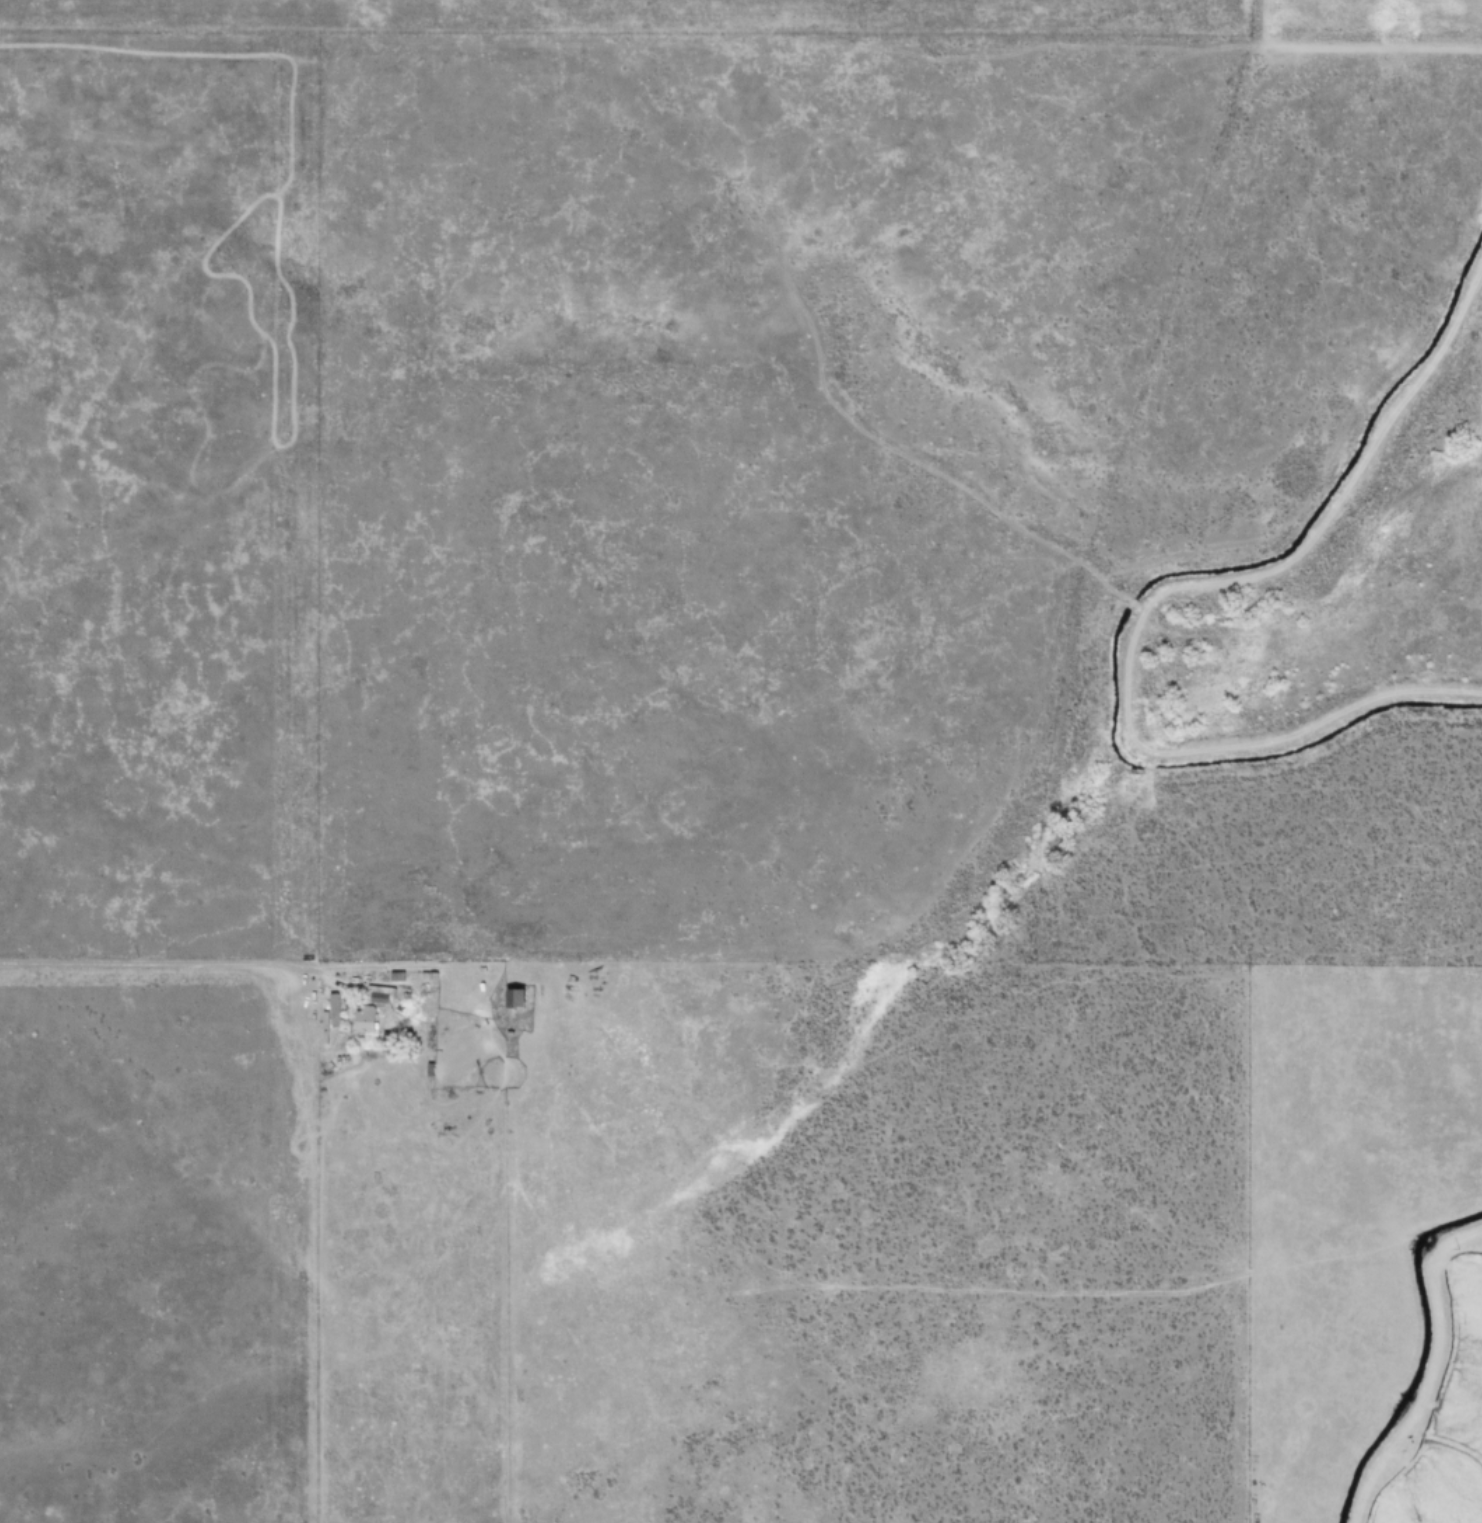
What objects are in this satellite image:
road: (157, 962)
building: (377, 995)
building: (512, 1000)
building: (331, 1011)
building: (362, 1020)

